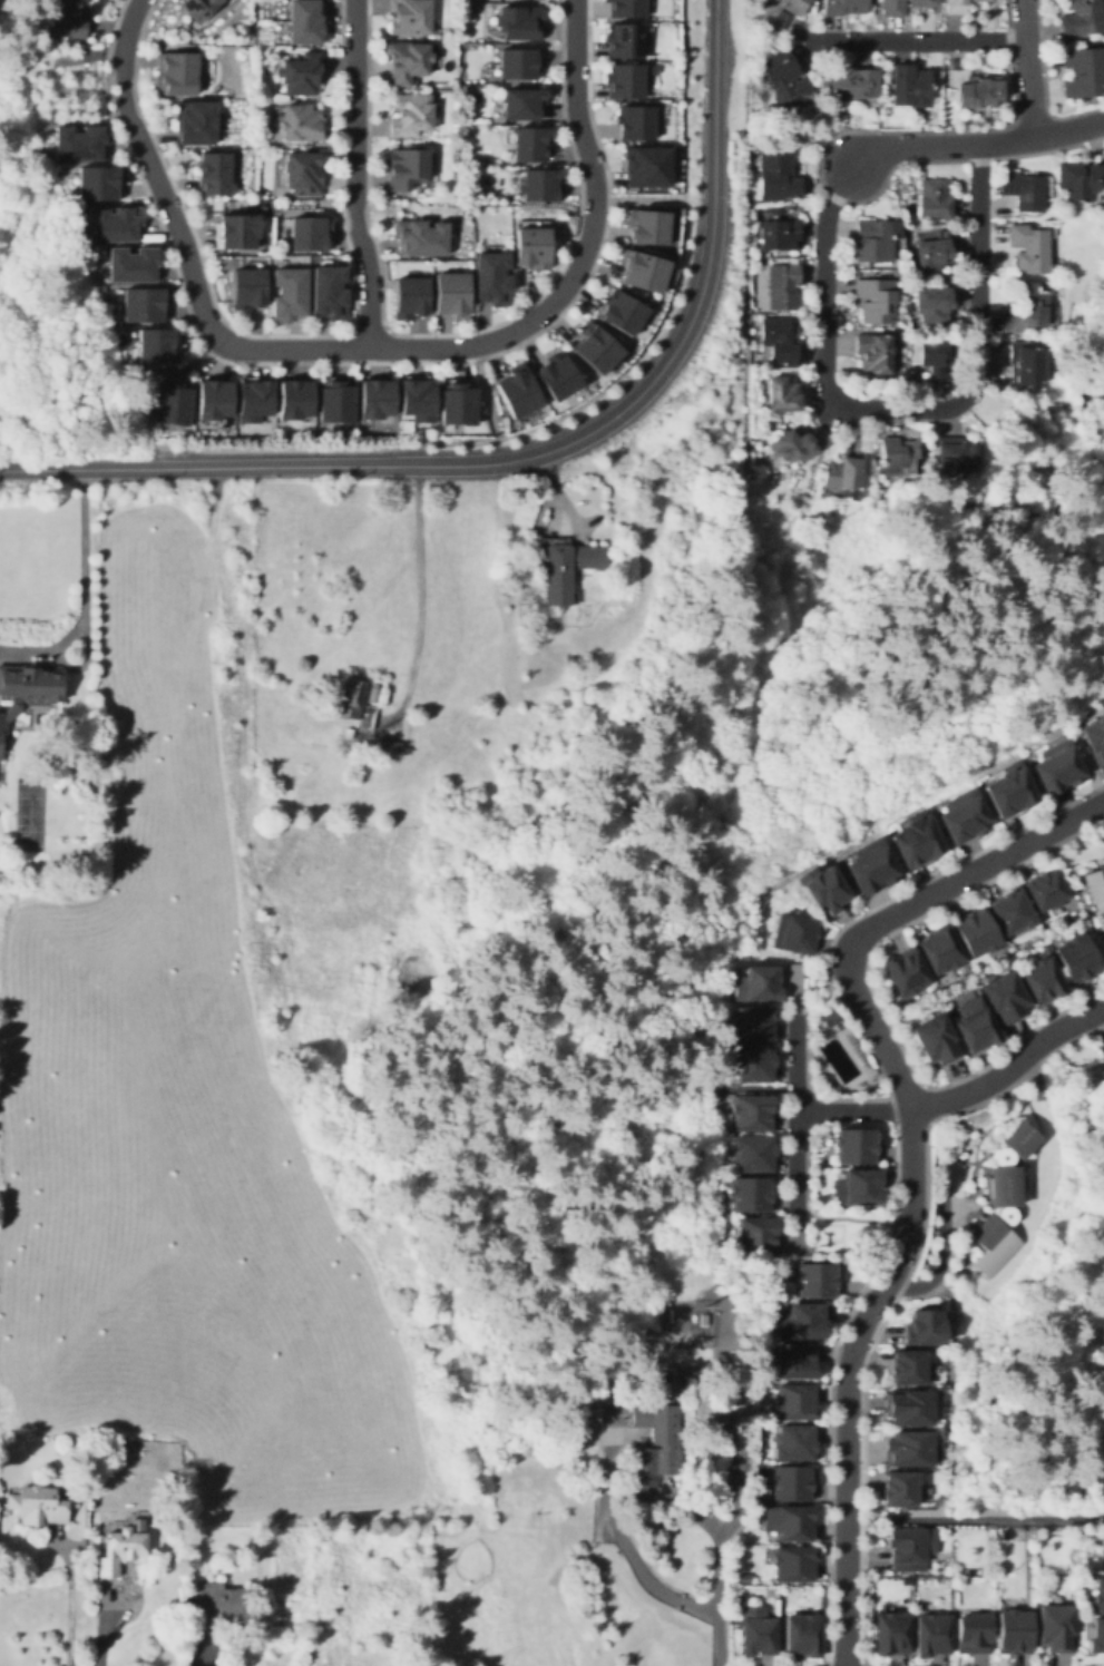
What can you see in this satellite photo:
building: (903, 7)
building: (198, 8)
building: (627, 8)
building: (844, 8)
building: (957, 9)
building: (782, 11)
building: (65, 17)
building: (1083, 17)
building: (411, 18)
building: (521, 22)
building: (306, 23)
road: (917, 39)
building: (625, 41)
building: (409, 60)
building: (518, 65)
road: (743, 65)
road: (1027, 68)
building: (1085, 71)
building: (175, 72)
building: (303, 72)
building: (956, 75)
building: (785, 79)
building: (629, 80)
building: (848, 82)
road: (1042, 86)
building: (912, 88)
building: (979, 92)
road: (683, 99)
building: (525, 104)
building: (412, 115)
road: (1030, 120)
building: (302, 121)
building: (195, 122)
building: (636, 122)
road: (792, 130)
building: (78, 141)
building: (531, 144)
road: (977, 145)
road: (817, 159)
building: (647, 167)
building: (408, 169)
building: (305, 173)
road: (354, 174)
building: (216, 175)
building: (780, 175)
building: (1079, 182)
building: (99, 184)
building: (543, 187)
building: (1020, 189)
road: (638, 199)
building: (937, 200)
road: (697, 207)
road: (712, 216)
building: (115, 224)
building: (645, 225)
building: (238, 233)
building: (306, 234)
building: (779, 234)
building: (421, 238)
building: (876, 239)
road: (182, 242)
building: (533, 246)
building: (1030, 247)
road: (584, 252)
building: (934, 255)
building: (130, 264)
building: (641, 273)
building: (489, 277)
building: (329, 288)
building: (784, 288)
building: (247, 291)
building: (287, 291)
building: (452, 293)
building: (411, 297)
road: (666, 302)
building: (877, 302)
building: (145, 304)
road: (744, 304)
building: (934, 307)
building: (1032, 308)
building: (623, 313)
road: (367, 329)
road: (453, 333)
road: (277, 334)
building: (778, 343)
building: (156, 345)
building: (595, 350)
building: (873, 356)
building: (934, 356)
road: (364, 361)
building: (1027, 367)
building: (559, 378)
road: (486, 391)
building: (519, 393)
building: (783, 394)
building: (215, 399)
building: (377, 401)
building: (256, 402)
building: (295, 402)
building: (335, 402)
building: (417, 402)
building: (172, 405)
building: (459, 406)
road: (908, 410)
road: (554, 416)
building: (792, 447)
road: (313, 449)
building: (955, 451)
building: (900, 457)
road: (393, 465)
road: (75, 469)
building: (841, 474)
building: (568, 567)
road: (81, 588)
road: (418, 591)
building: (27, 688)
building: (352, 695)
building: (1095, 737)
building: (98, 761)
building: (1055, 766)
building: (1009, 790)
park: (30, 815)
building: (963, 816)
building: (915, 844)
building: (869, 871)
building: (1096, 890)
building: (1047, 891)
building: (821, 894)
building: (1012, 913)
building: (979, 933)
building: (794, 937)
building: (941, 951)
building: (1077, 959)
building: (908, 973)
building: (1043, 978)
building: (758, 987)
road: (870, 992)
building: (1005, 998)
building: (833, 1019)
building: (752, 1023)
building: (977, 1026)
building: (936, 1040)
building: (1102, 1049)
road: (1009, 1065)
building: (754, 1066)
road: (924, 1101)
road: (852, 1113)
building: (751, 1115)
road: (797, 1115)
building: (1019, 1141)
road: (895, 1144)
building: (856, 1147)
building: (755, 1156)
road: (910, 1160)
building: (1007, 1185)
building: (859, 1189)
building: (751, 1197)
road: (851, 1221)
park: (847, 1231)
building: (756, 1237)
building: (995, 1243)
building: (817, 1283)
road: (895, 1293)
building: (802, 1323)
building: (925, 1327)
building: (794, 1364)
building: (909, 1368)
building: (795, 1403)
building: (910, 1410)
building: (797, 1444)
building: (649, 1450)
building: (912, 1451)
building: (793, 1486)
building: (900, 1489)
building: (35, 1505)
building: (790, 1525)
building: (1103, 1540)
building: (121, 1550)
building: (912, 1550)
building: (794, 1565)
road: (645, 1575)
road: (715, 1580)
road: (70, 1596)
building: (1098, 1596)
building: (221, 1601)
building: (283, 1627)
building: (1056, 1629)
building: (756, 1631)
building: (891, 1633)
building: (1015, 1633)
building: (803, 1636)
building: (975, 1636)
building: (932, 1637)
building: (1098, 1637)
road: (102, 1638)
road: (203, 1662)
road: (866, 1664)
road: (821, 1665)

